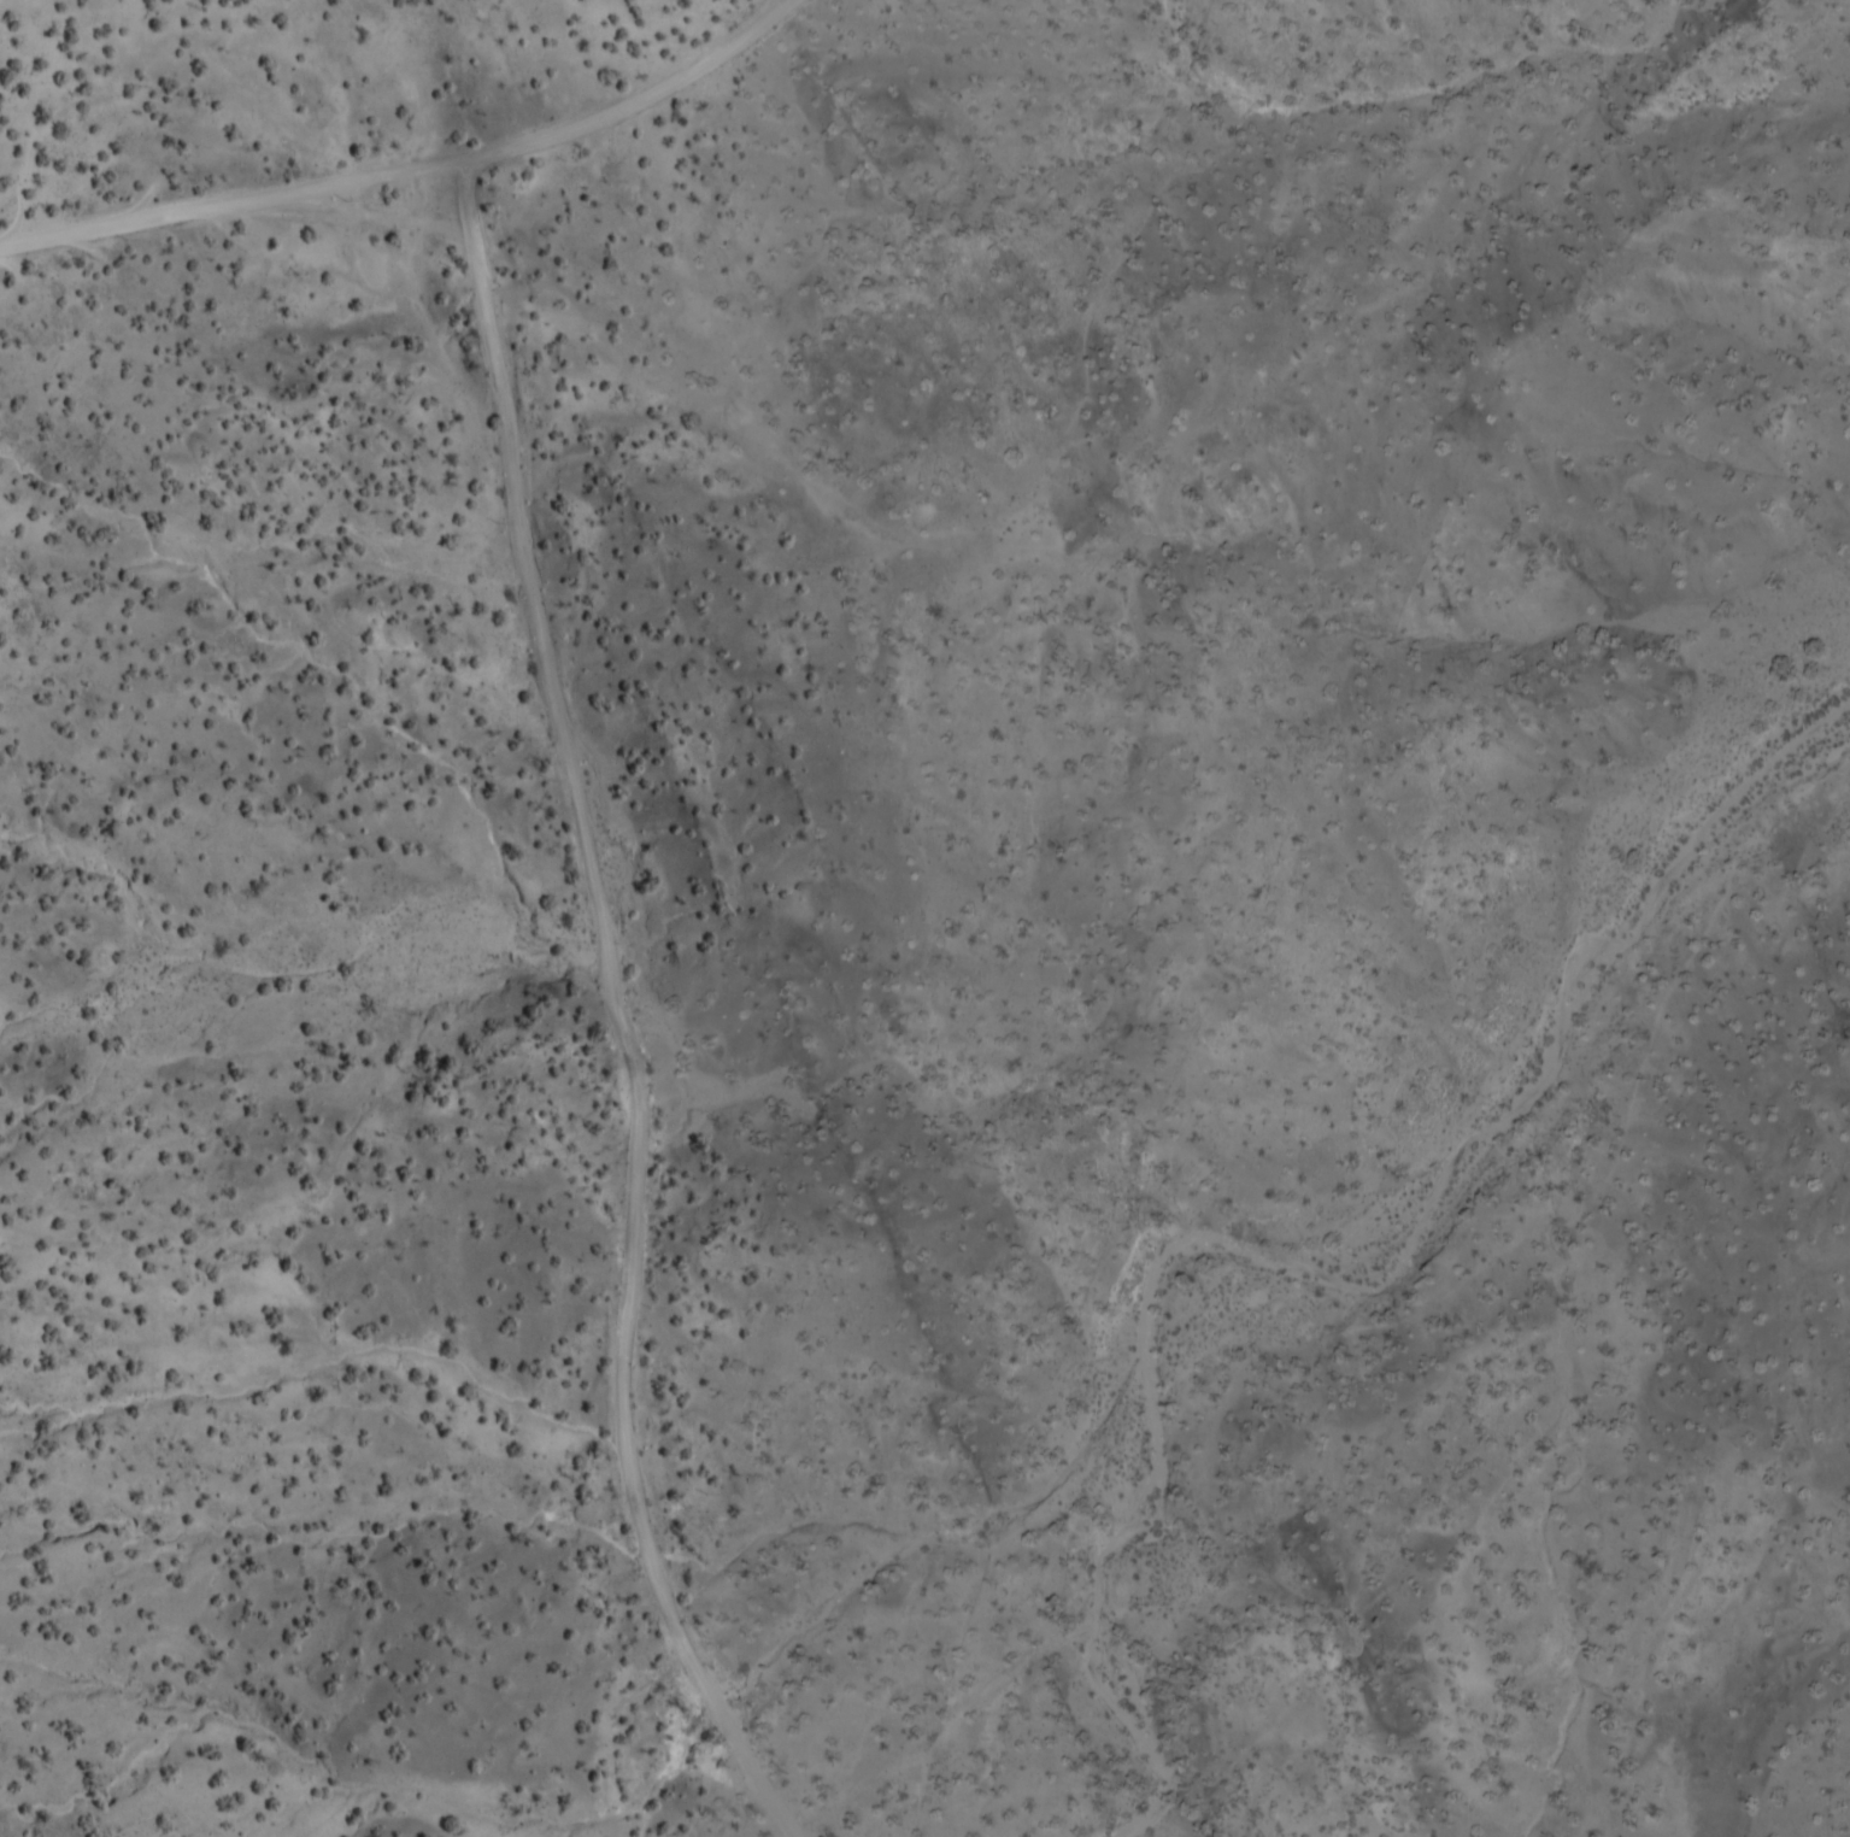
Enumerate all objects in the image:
road: (410, 162)
road: (576, 1010)

